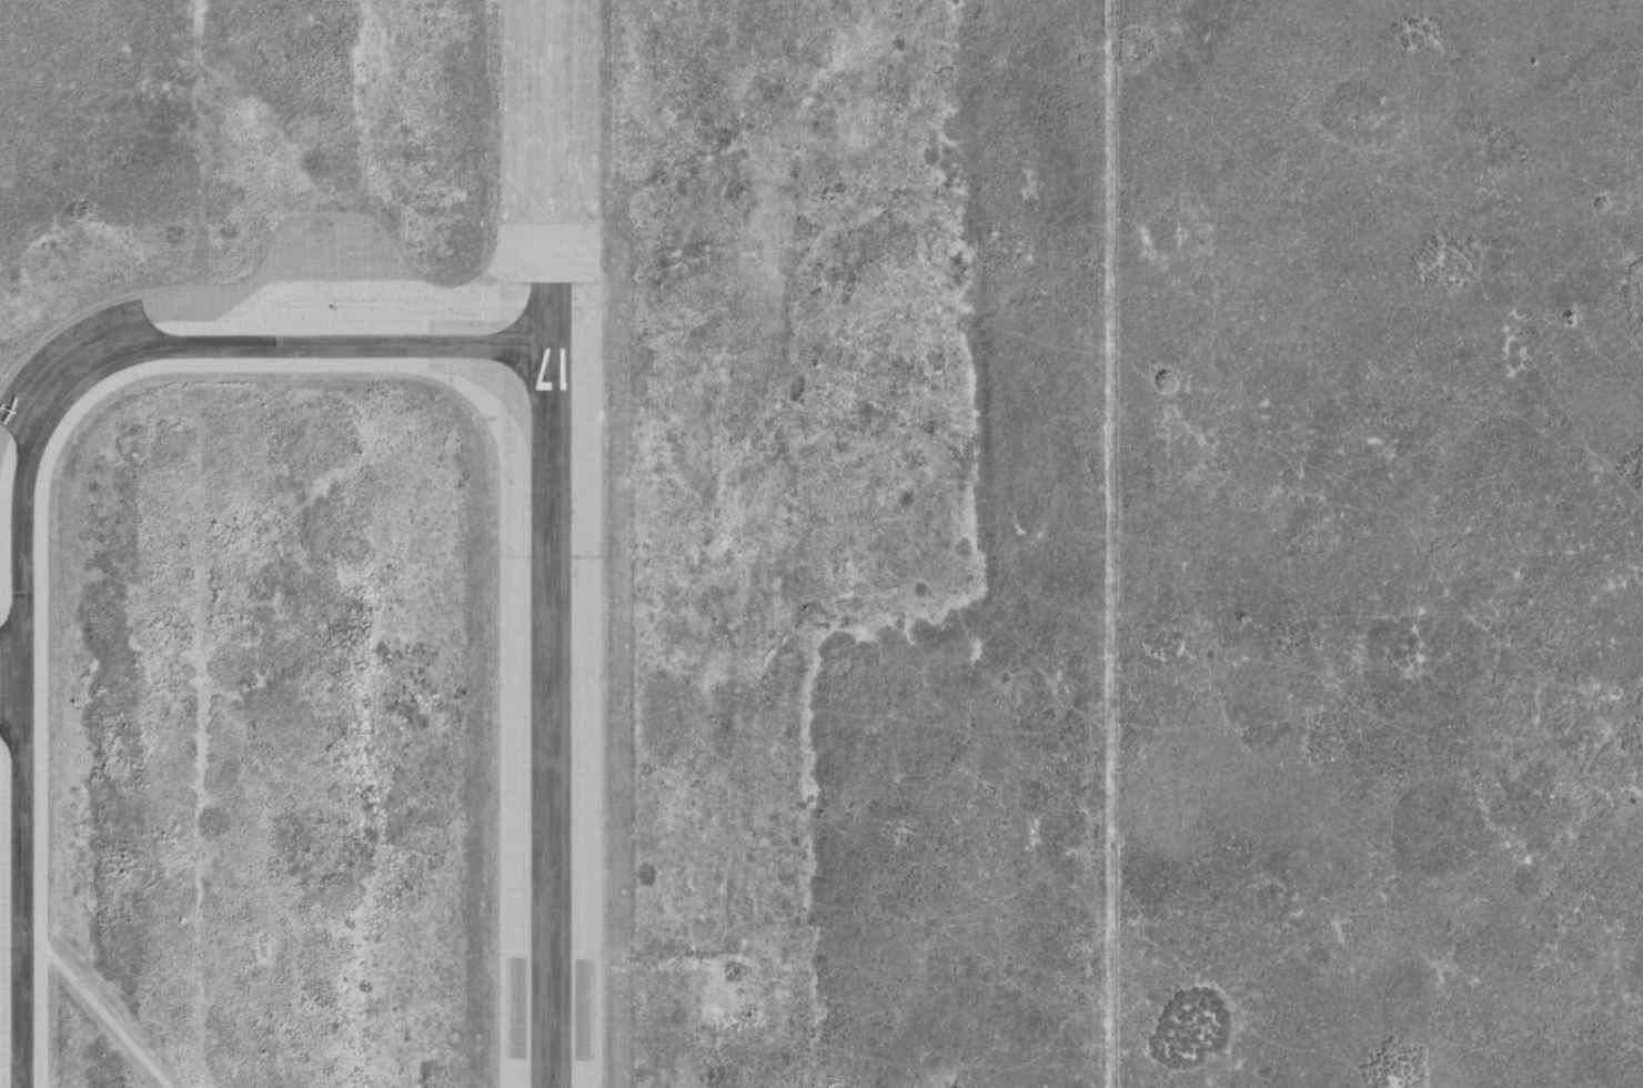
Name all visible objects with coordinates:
airport taxiway: (546, 141)
airport taxiway: (20, 485)
airport: (547, 544)
airport apron: (10, 681)
airport runway: (547, 685)
airport taxiway: (10, 814)
airport taxiway: (10, 866)
airport taxiway: (10, 920)
road: (97, 1013)

